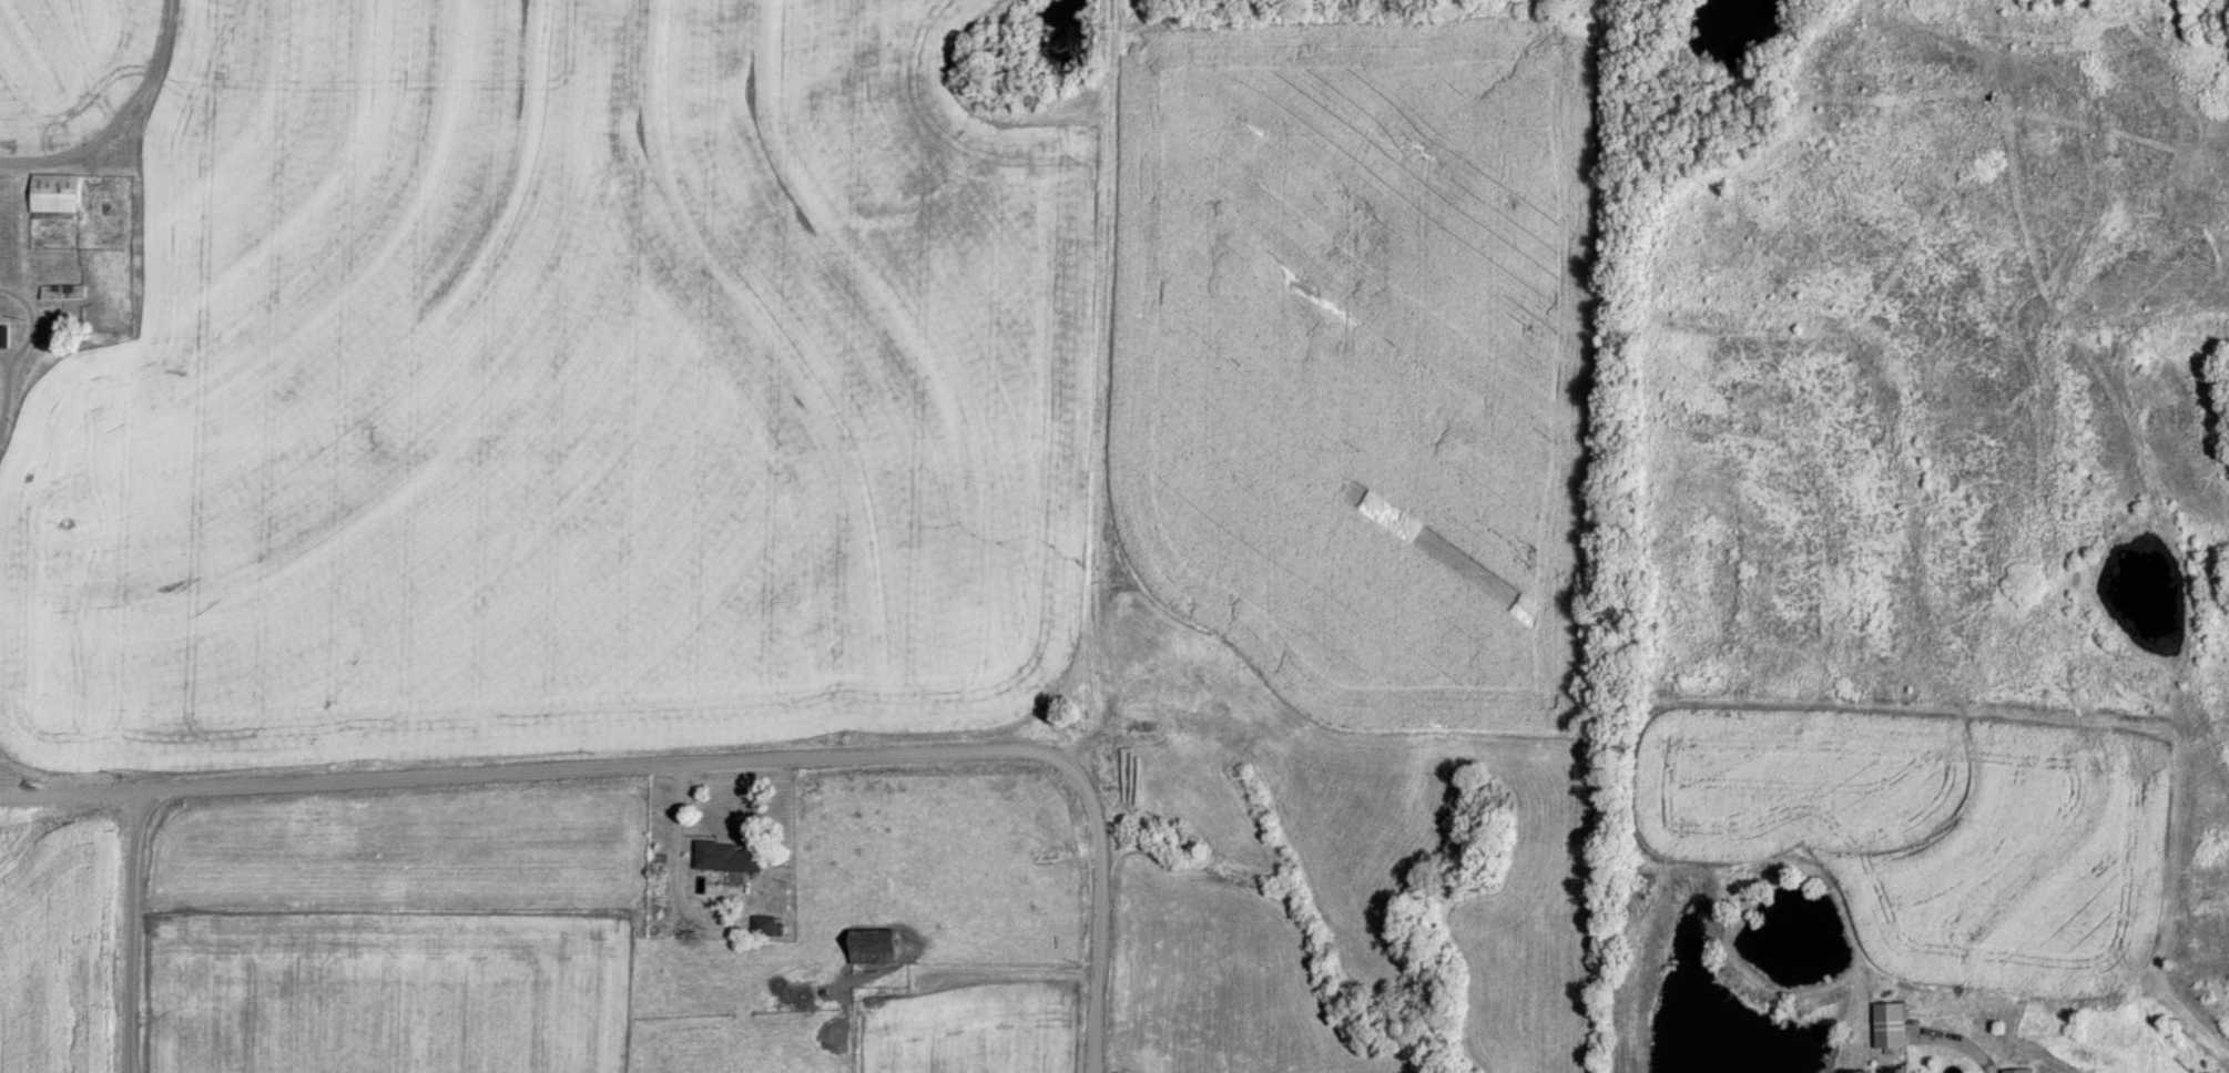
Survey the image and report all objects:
road: (118, 119)
building: (53, 193)
building: (61, 293)
road: (19, 348)
road: (693, 763)
building: (726, 856)
road: (678, 859)
building: (766, 926)
road: (131, 930)
building: (875, 947)
building: (1889, 1024)
building: (2018, 1070)

